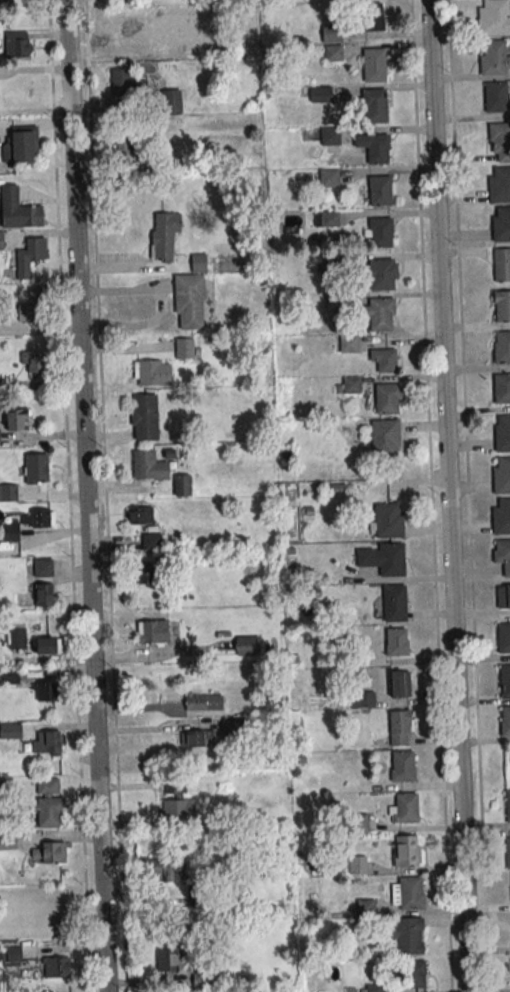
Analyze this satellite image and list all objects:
building: (6, 2)
building: (373, 17)
building: (494, 18)
building: (331, 33)
building: (17, 44)
building: (333, 53)
building: (494, 58)
building: (375, 64)
building: (122, 82)
building: (321, 93)
building: (495, 96)
building: (169, 101)
building: (374, 105)
building: (330, 136)
building: (500, 142)
building: (21, 145)
building: (374, 147)
building: (125, 153)
building: (328, 178)
building: (499, 185)
building: (379, 190)
building: (18, 209)
building: (326, 218)
building: (501, 225)
building: (379, 231)
building: (164, 234)
building: (1, 240)
building: (29, 256)
building: (198, 262)
building: (501, 264)
building: (381, 274)
building: (189, 301)
building: (501, 305)
building: (30, 306)
building: (380, 314)
building: (349, 343)
building: (184, 348)
building: (502, 348)
building: (32, 361)
building: (153, 372)
building: (351, 384)
building: (502, 388)
building: (388, 398)
building: (144, 417)
building: (16, 419)
building: (502, 434)
building: (385, 437)
building: (149, 466)
building: (37, 468)
building: (501, 476)
building: (182, 485)
building: (8, 492)
road: (69, 496)
road: (84, 496)
road: (430, 496)
road: (450, 496)
road: (467, 496)
building: (139, 515)
building: (502, 517)
building: (37, 518)
building: (387, 520)
building: (10, 532)
building: (151, 540)
building: (502, 554)
building: (384, 558)
building: (42, 566)
building: (146, 574)
building: (41, 594)
building: (502, 596)
building: (395, 602)
building: (153, 631)
building: (17, 638)
building: (503, 638)
building: (397, 641)
building: (247, 645)
building: (45, 646)
building: (505, 681)
building: (400, 683)
building: (46, 691)
building: (363, 699)
building: (204, 702)
building: (505, 721)
building: (401, 727)
building: (10, 730)
building: (197, 737)
building: (44, 742)
building: (401, 765)
building: (179, 786)
building: (48, 802)
building: (508, 805)
building: (404, 808)
building: (178, 809)
building: (360, 822)
building: (7, 842)
building: (406, 851)
building: (48, 852)
building: (508, 852)
building: (357, 865)
building: (163, 869)
building: (408, 892)
building: (406, 935)
building: (169, 959)
building: (56, 967)
building: (414, 974)
building: (201, 978)
building: (374, 988)

